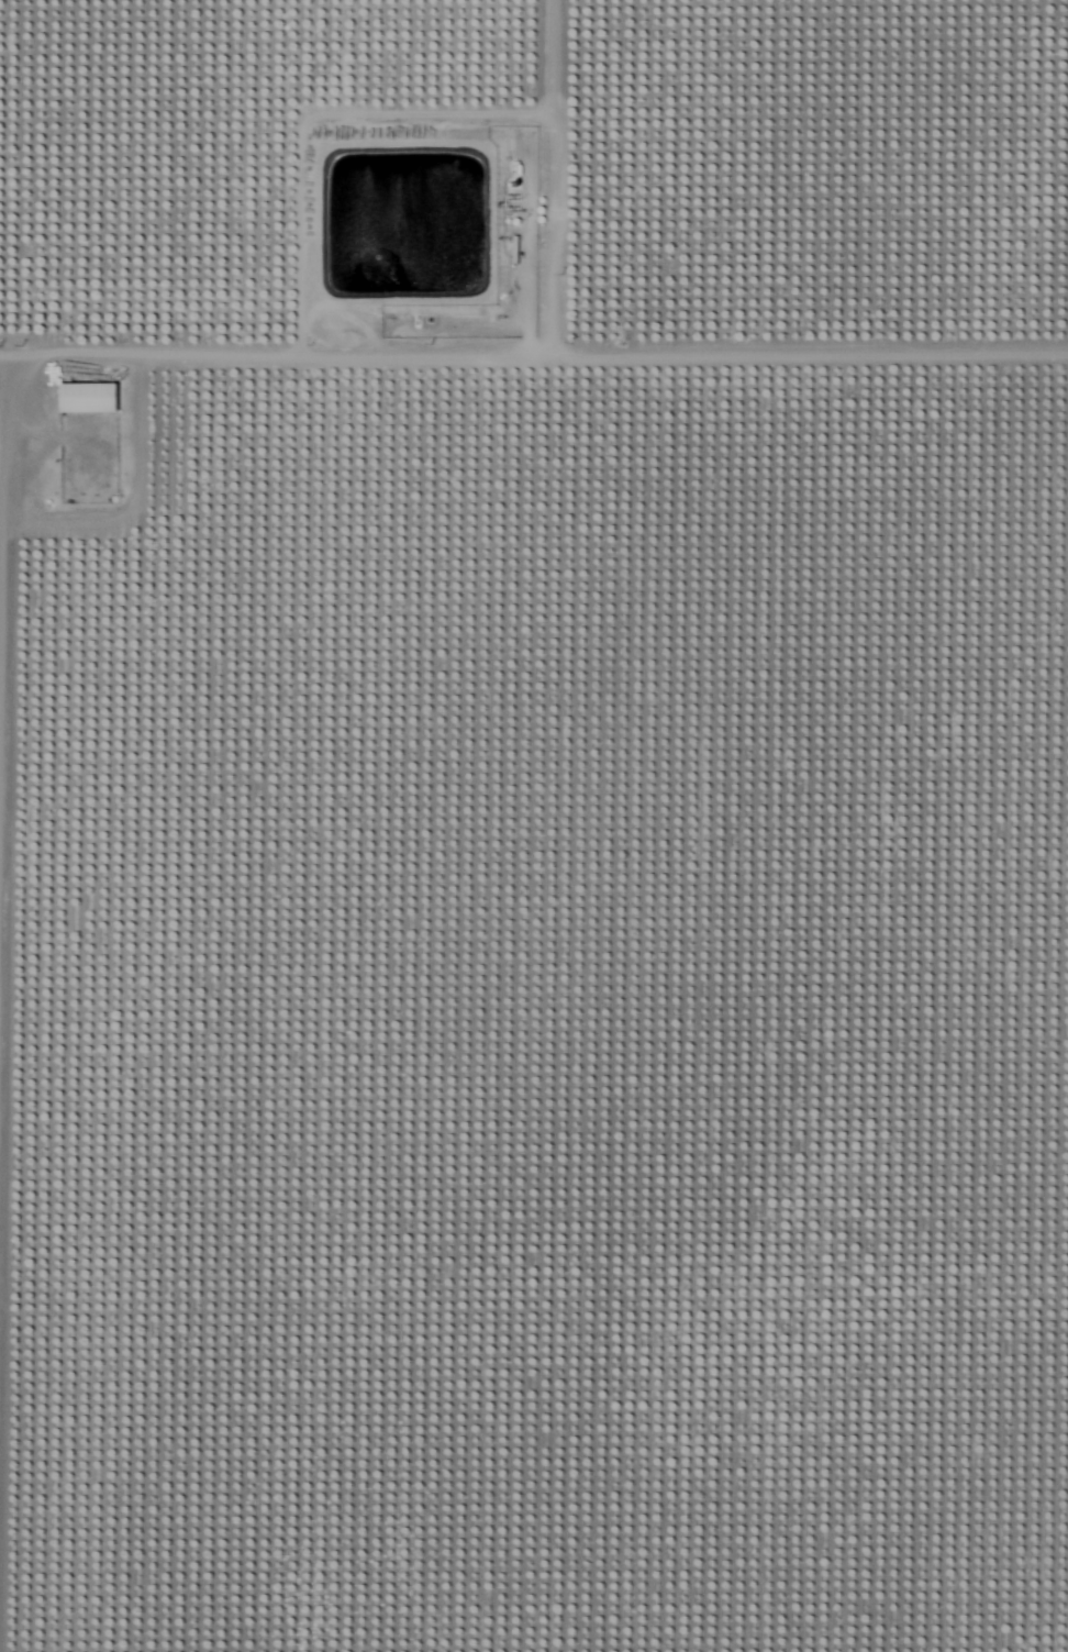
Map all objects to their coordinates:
crop: (530, 182)
building: (87, 396)
crop: (534, 1008)

